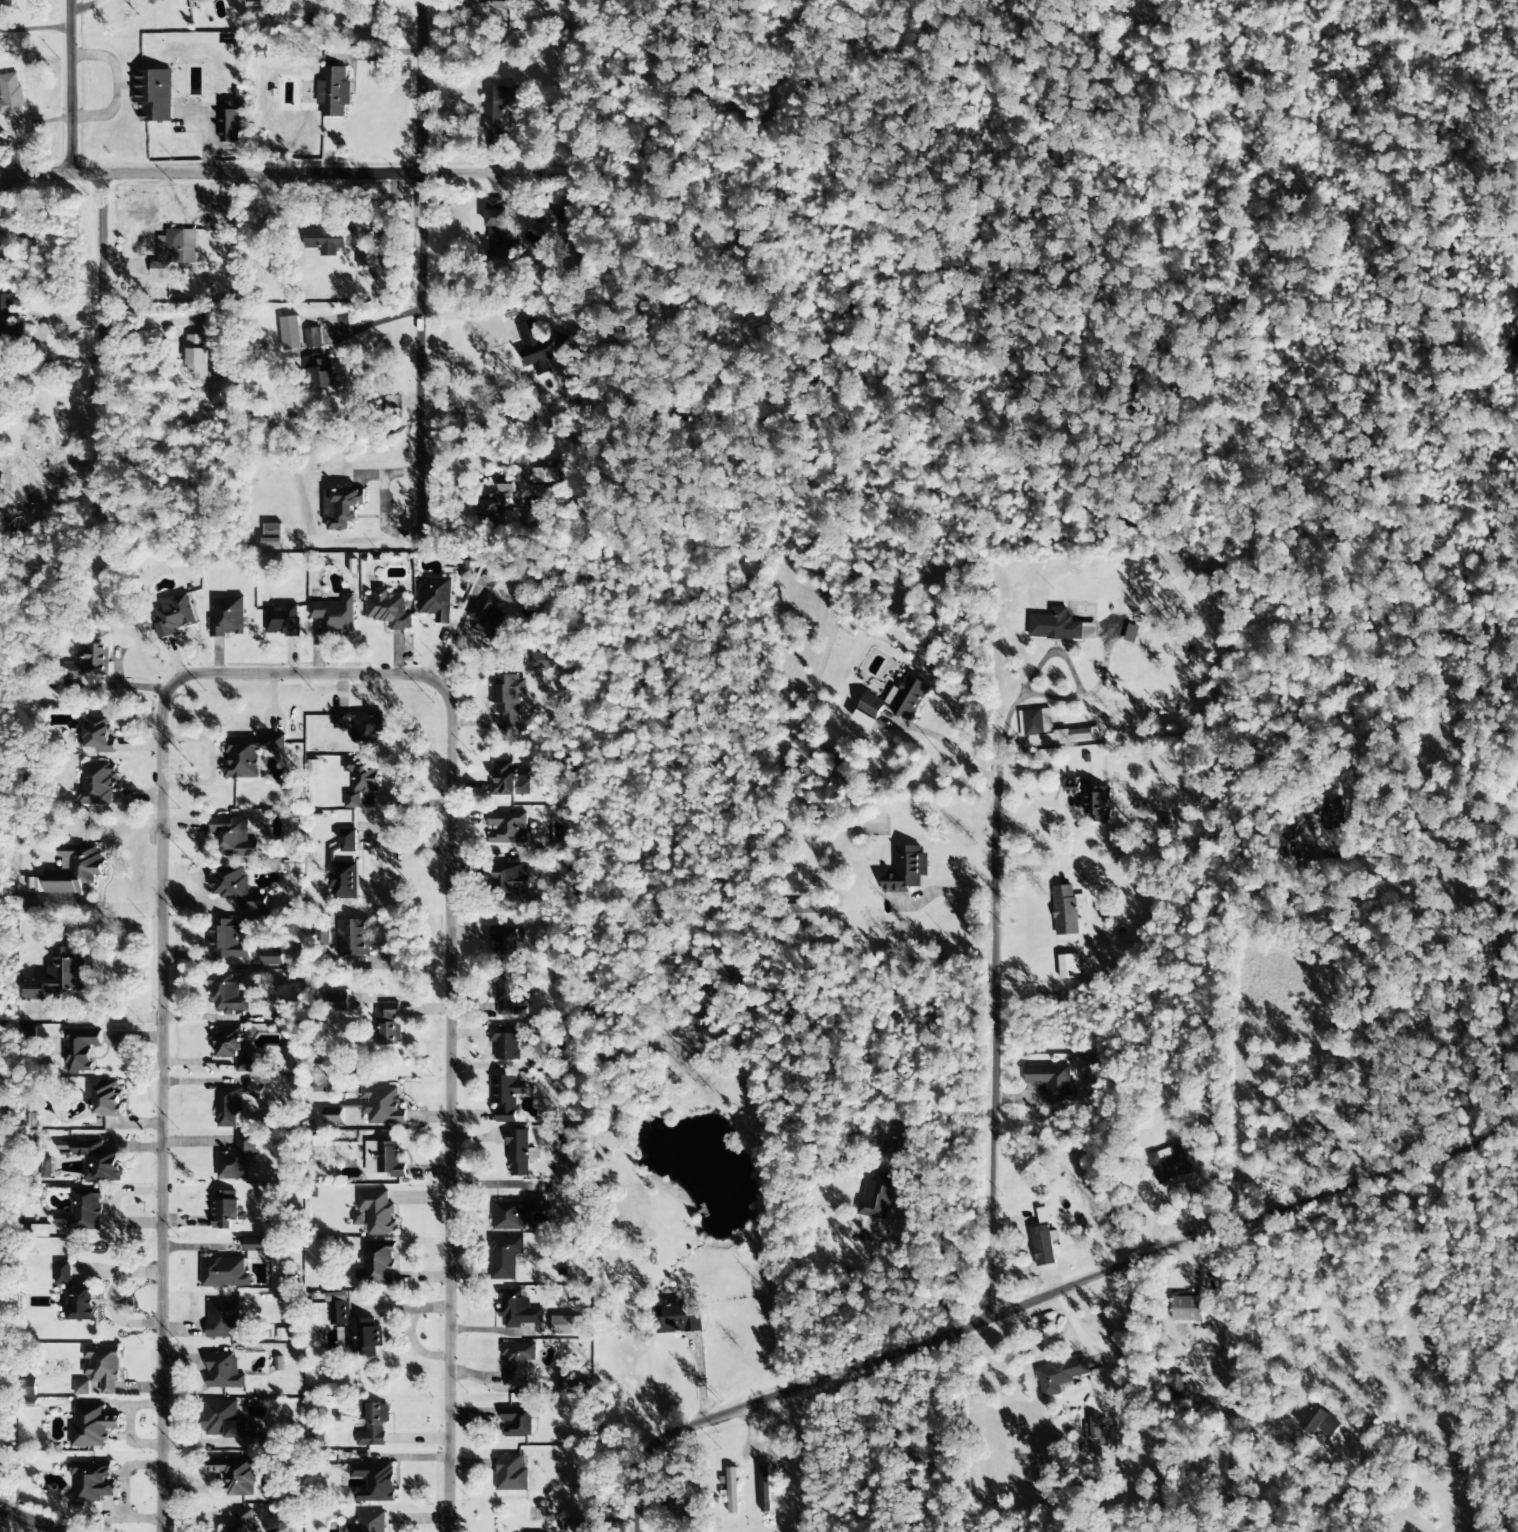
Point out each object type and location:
building: (189, 0)
building: (6, 3)
building: (501, 5)
road: (69, 85)
building: (333, 92)
building: (153, 94)
building: (10, 97)
building: (493, 110)
building: (230, 121)
road: (281, 167)
building: (495, 226)
building: (330, 240)
building: (175, 245)
building: (366, 257)
road: (420, 265)
building: (9, 315)
building: (211, 320)
building: (290, 333)
building: (312, 338)
building: (560, 341)
building: (533, 346)
building: (198, 354)
road: (105, 368)
building: (318, 372)
building: (544, 475)
building: (496, 504)
building: (341, 508)
building: (272, 535)
building: (1127, 585)
building: (435, 599)
building: (388, 610)
building: (335, 614)
building: (173, 615)
building: (227, 617)
building: (487, 618)
building: (282, 620)
building: (1054, 626)
building: (1130, 634)
building: (542, 661)
building: (88, 662)
road: (302, 671)
building: (508, 698)
building: (894, 698)
building: (863, 720)
building: (1037, 723)
building: (361, 725)
building: (1079, 734)
building: (97, 735)
building: (247, 755)
building: (33, 779)
building: (360, 780)
building: (508, 781)
building: (96, 784)
building: (1072, 787)
building: (1097, 804)
building: (507, 828)
building: (232, 837)
building: (344, 866)
building: (905, 869)
building: (74, 871)
building: (508, 878)
building: (238, 888)
building: (1064, 910)
building: (807, 913)
building: (352, 938)
building: (228, 939)
building: (507, 943)
building: (272, 957)
building: (1068, 967)
building: (58, 976)
building: (227, 994)
building: (509, 996)
building: (337, 1001)
road: (971, 1013)
building: (387, 1023)
building: (508, 1040)
building: (233, 1047)
building: (80, 1048)
building: (1052, 1081)
building: (255, 1089)
building: (506, 1097)
building: (105, 1099)
building: (228, 1106)
building: (382, 1106)
building: (332, 1116)
building: (891, 1148)
building: (517, 1153)
building: (237, 1158)
building: (384, 1159)
building: (98, 1161)
building: (1169, 1164)
building: (878, 1195)
building: (82, 1210)
building: (226, 1211)
building: (377, 1212)
building: (514, 1213)
building: (358, 1219)
building: (40, 1231)
building: (1043, 1245)
building: (255, 1248)
building: (504, 1257)
building: (376, 1263)
building: (224, 1273)
road: (1020, 1284)
building: (76, 1295)
building: (517, 1309)
building: (1186, 1309)
building: (223, 1319)
building: (677, 1319)
building: (564, 1325)
building: (354, 1328)
building: (516, 1363)
building: (102, 1367)
building: (223, 1371)
building: (1060, 1375)
building: (567, 1380)
building: (1175, 1386)
building: (81, 1387)
building: (222, 1419)
building: (519, 1422)
building: (1319, 1422)
building: (373, 1425)
building: (91, 1426)
building: (1095, 1436)
building: (510, 1474)
building: (234, 1475)
building: (91, 1481)
building: (373, 1482)
building: (731, 1490)
road: (31, 1520)
building: (241, 1521)
building: (368, 1522)
building: (572, 1526)

